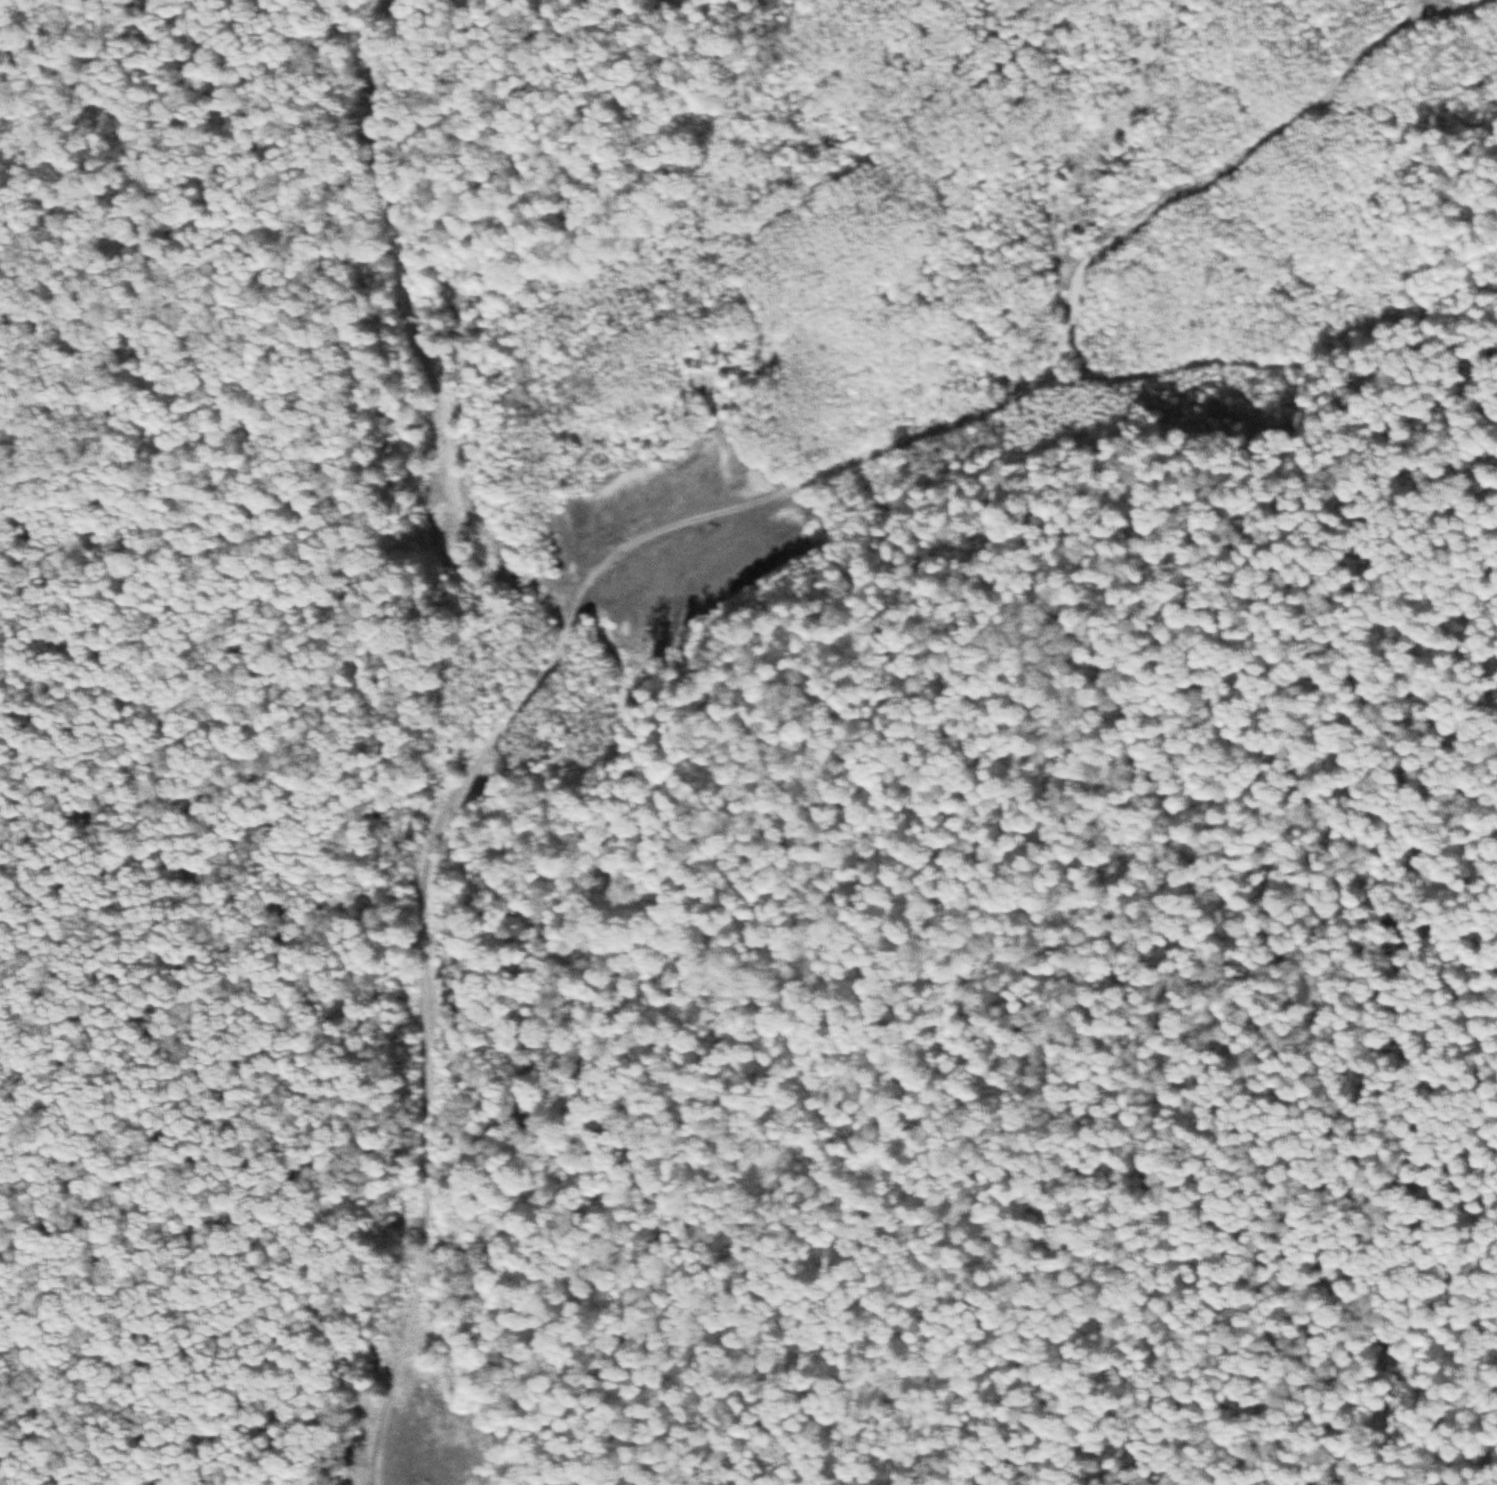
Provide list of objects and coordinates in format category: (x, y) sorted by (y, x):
road: (1439, 3)
road: (633, 104)
road: (642, 543)
road: (206, 709)

